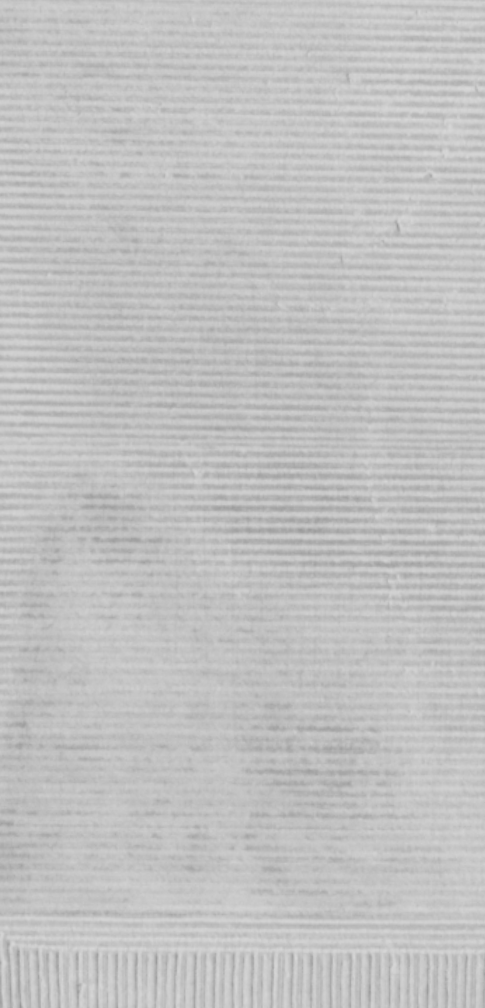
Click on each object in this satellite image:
crop: (242, 504)

